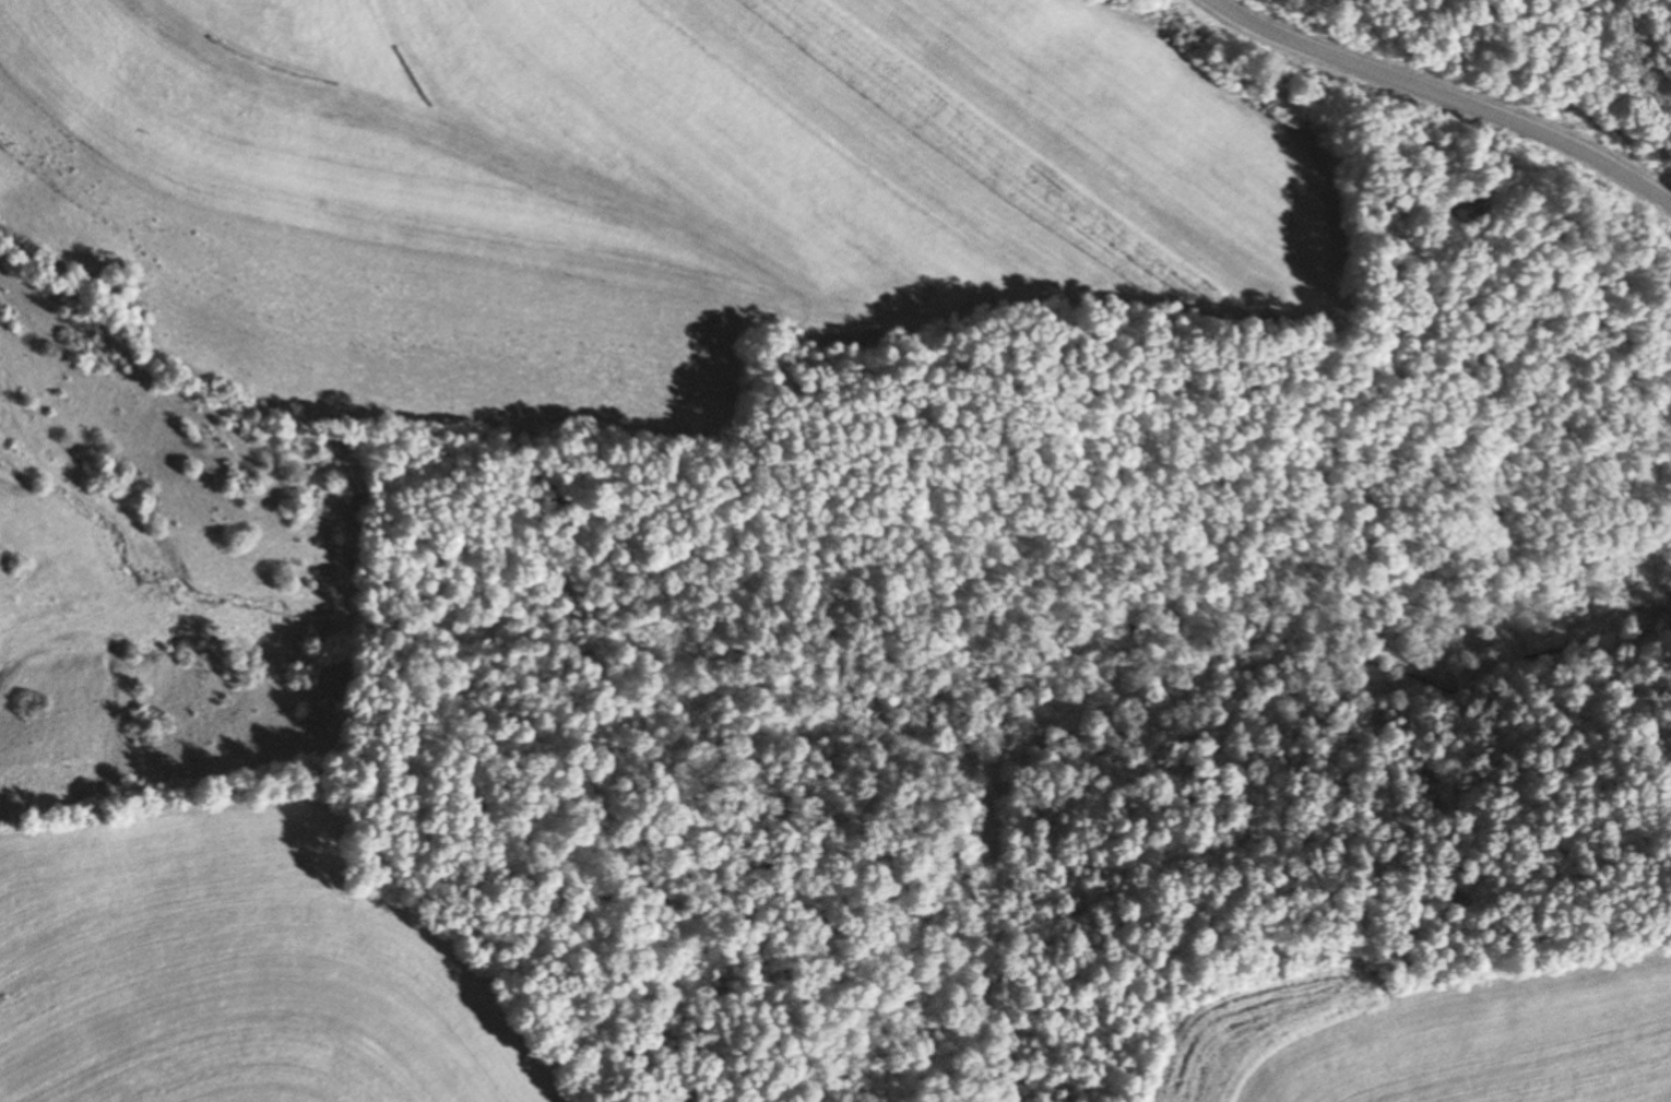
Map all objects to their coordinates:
road: (1448, 95)
crop: (637, 187)
crop: (235, 972)
crop: (1433, 1040)

